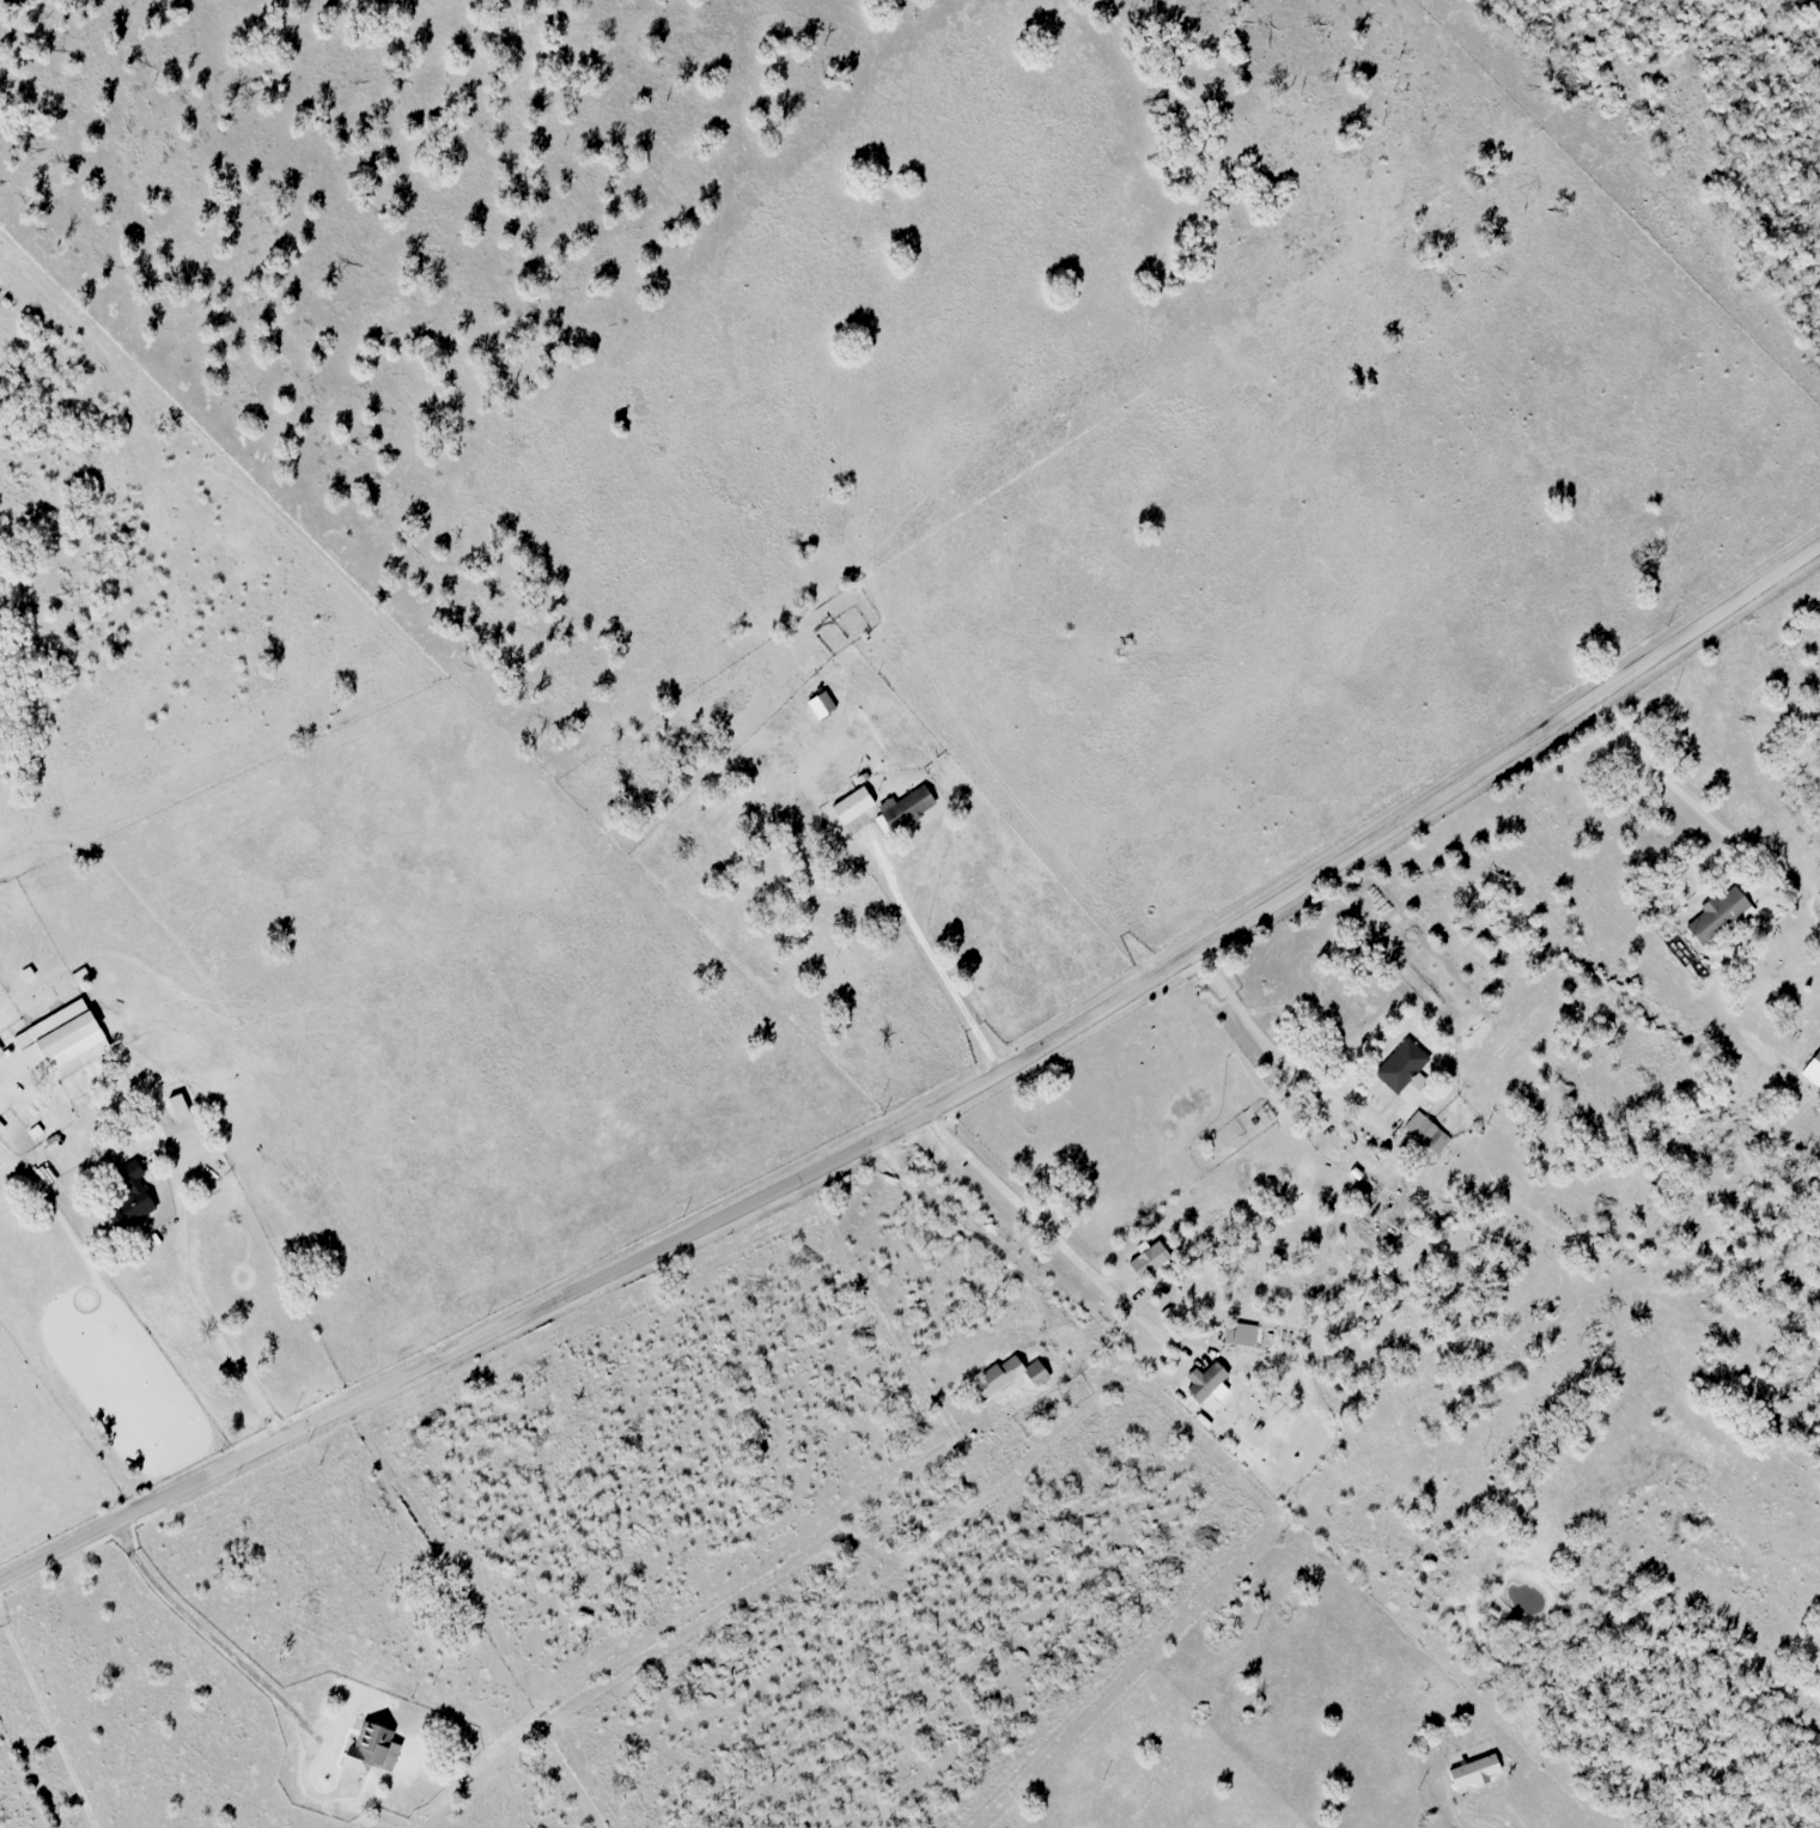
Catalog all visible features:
building: (821, 704)
road: (1654, 761)
building: (852, 804)
building: (907, 807)
building: (1717, 912)
road: (939, 960)
building: (74, 1049)
road: (1266, 1049)
building: (1401, 1065)
building: (1813, 1069)
road: (935, 1105)
building: (1426, 1131)
building: (128, 1196)
road: (945, 1216)
road: (1053, 1241)
building: (1144, 1268)
road: (195, 1299)
building: (1009, 1377)
building: (1207, 1381)
road: (202, 1626)
building: (372, 1748)
building: (1474, 1771)
building: (1200, 1821)

